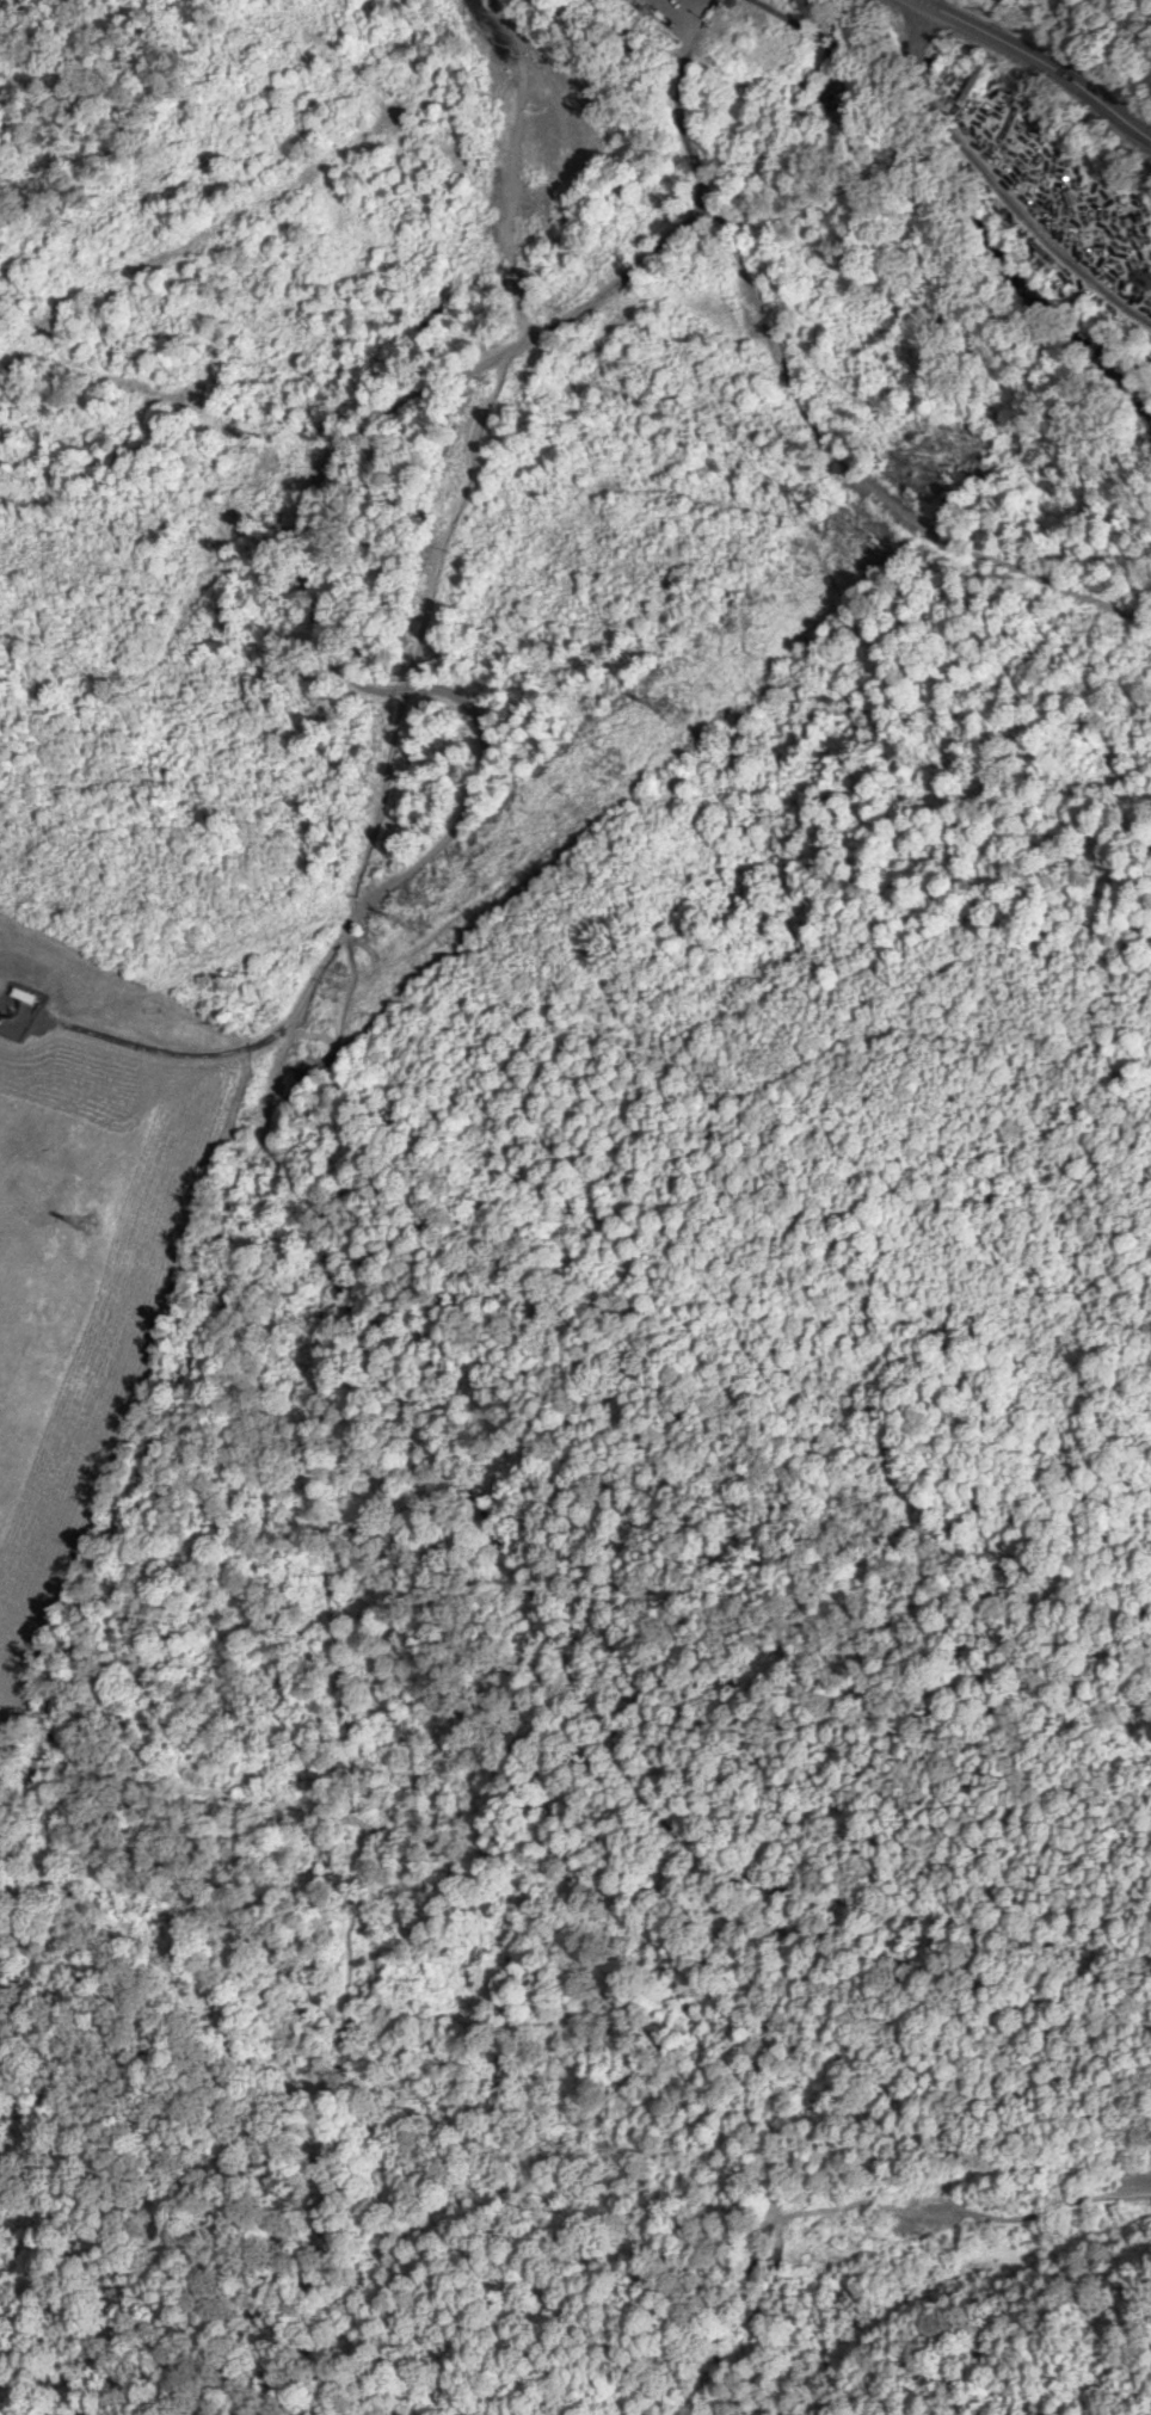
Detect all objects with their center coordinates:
road: (1039, 61)
building: (838, 104)
power tower: (887, 503)
power tower: (669, 703)
power tower: (417, 920)
building: (23, 996)
power tower: (80, 1231)

